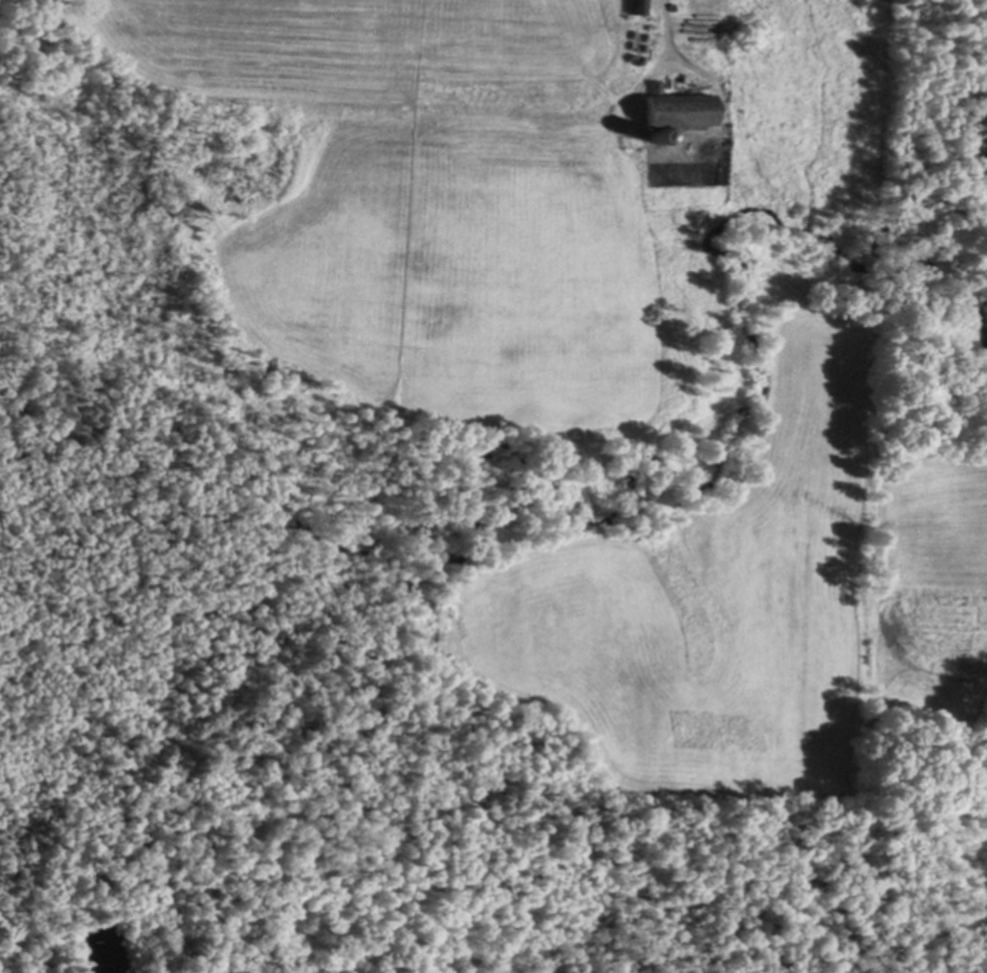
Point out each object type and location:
building: (637, 6)
building: (640, 34)
building: (638, 45)
building: (637, 57)
building: (676, 109)

